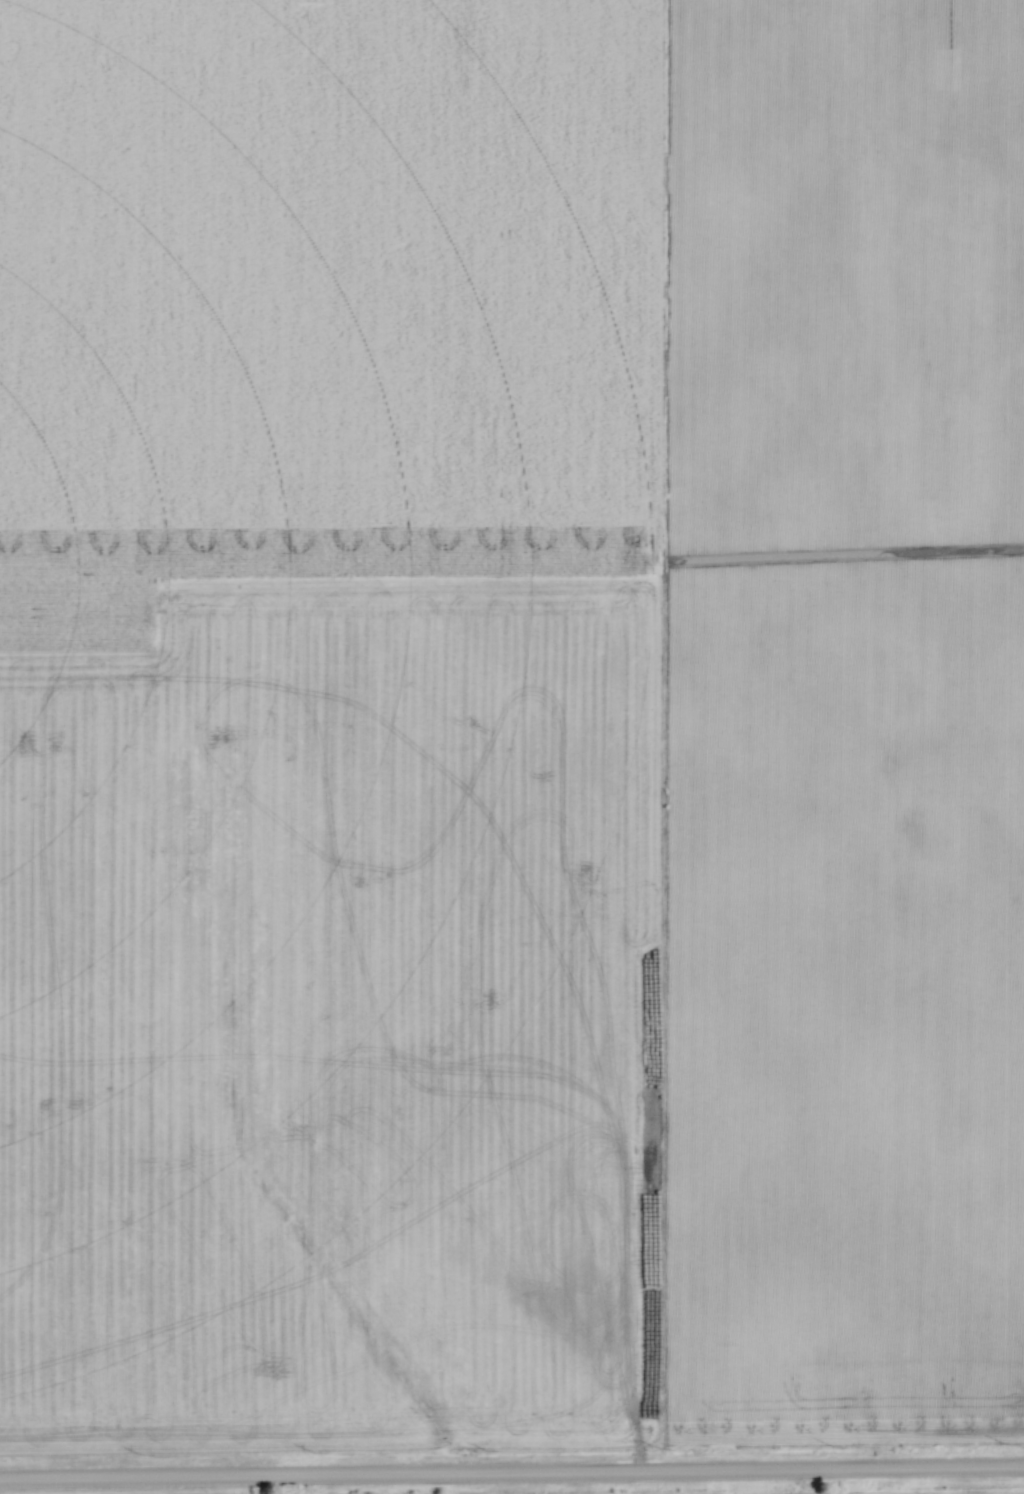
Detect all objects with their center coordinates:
road: (511, 1475)

